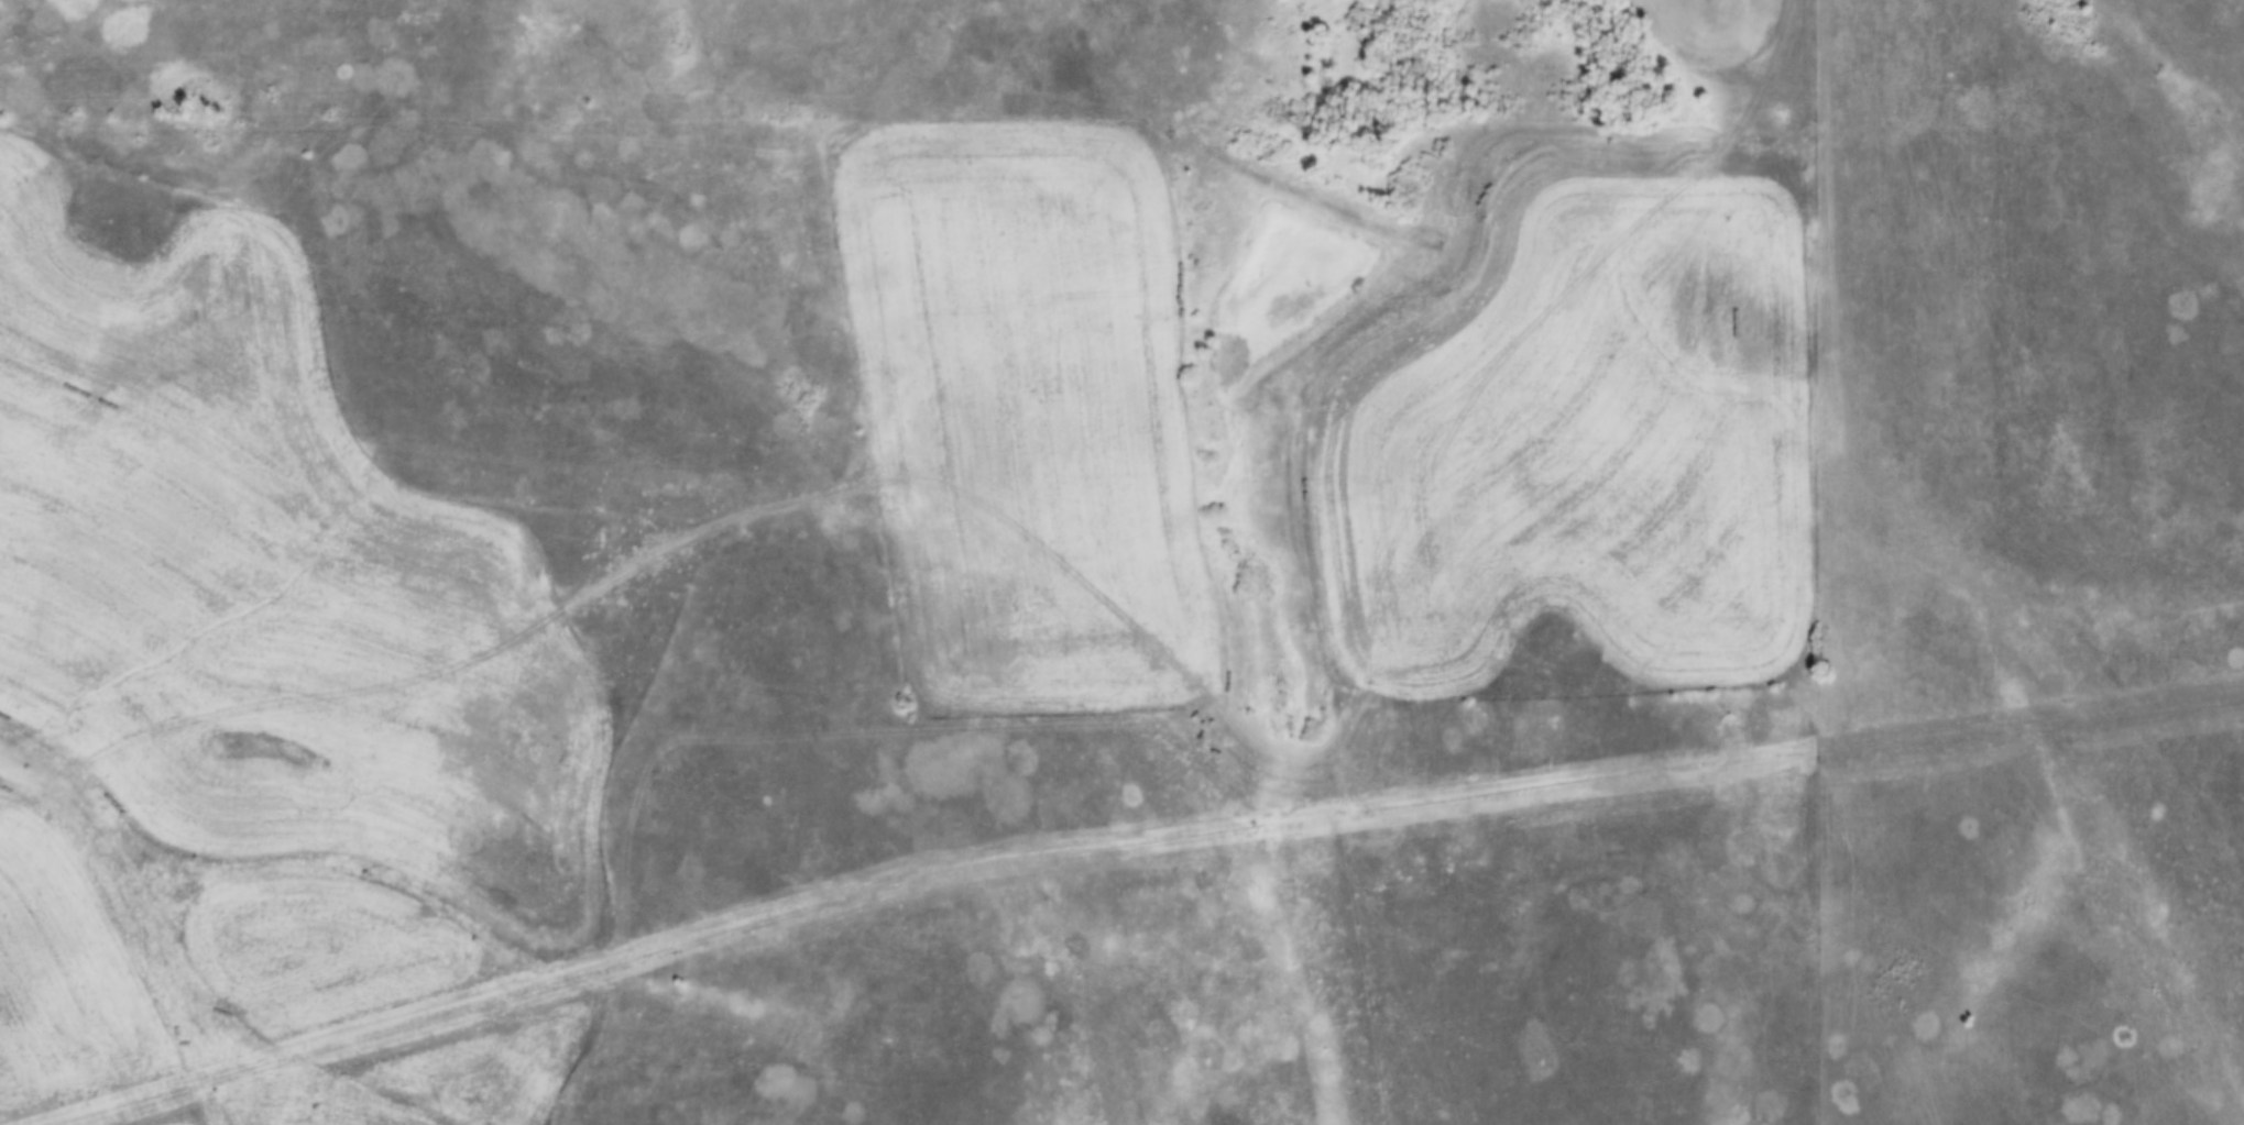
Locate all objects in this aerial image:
road: (1488, 213)

